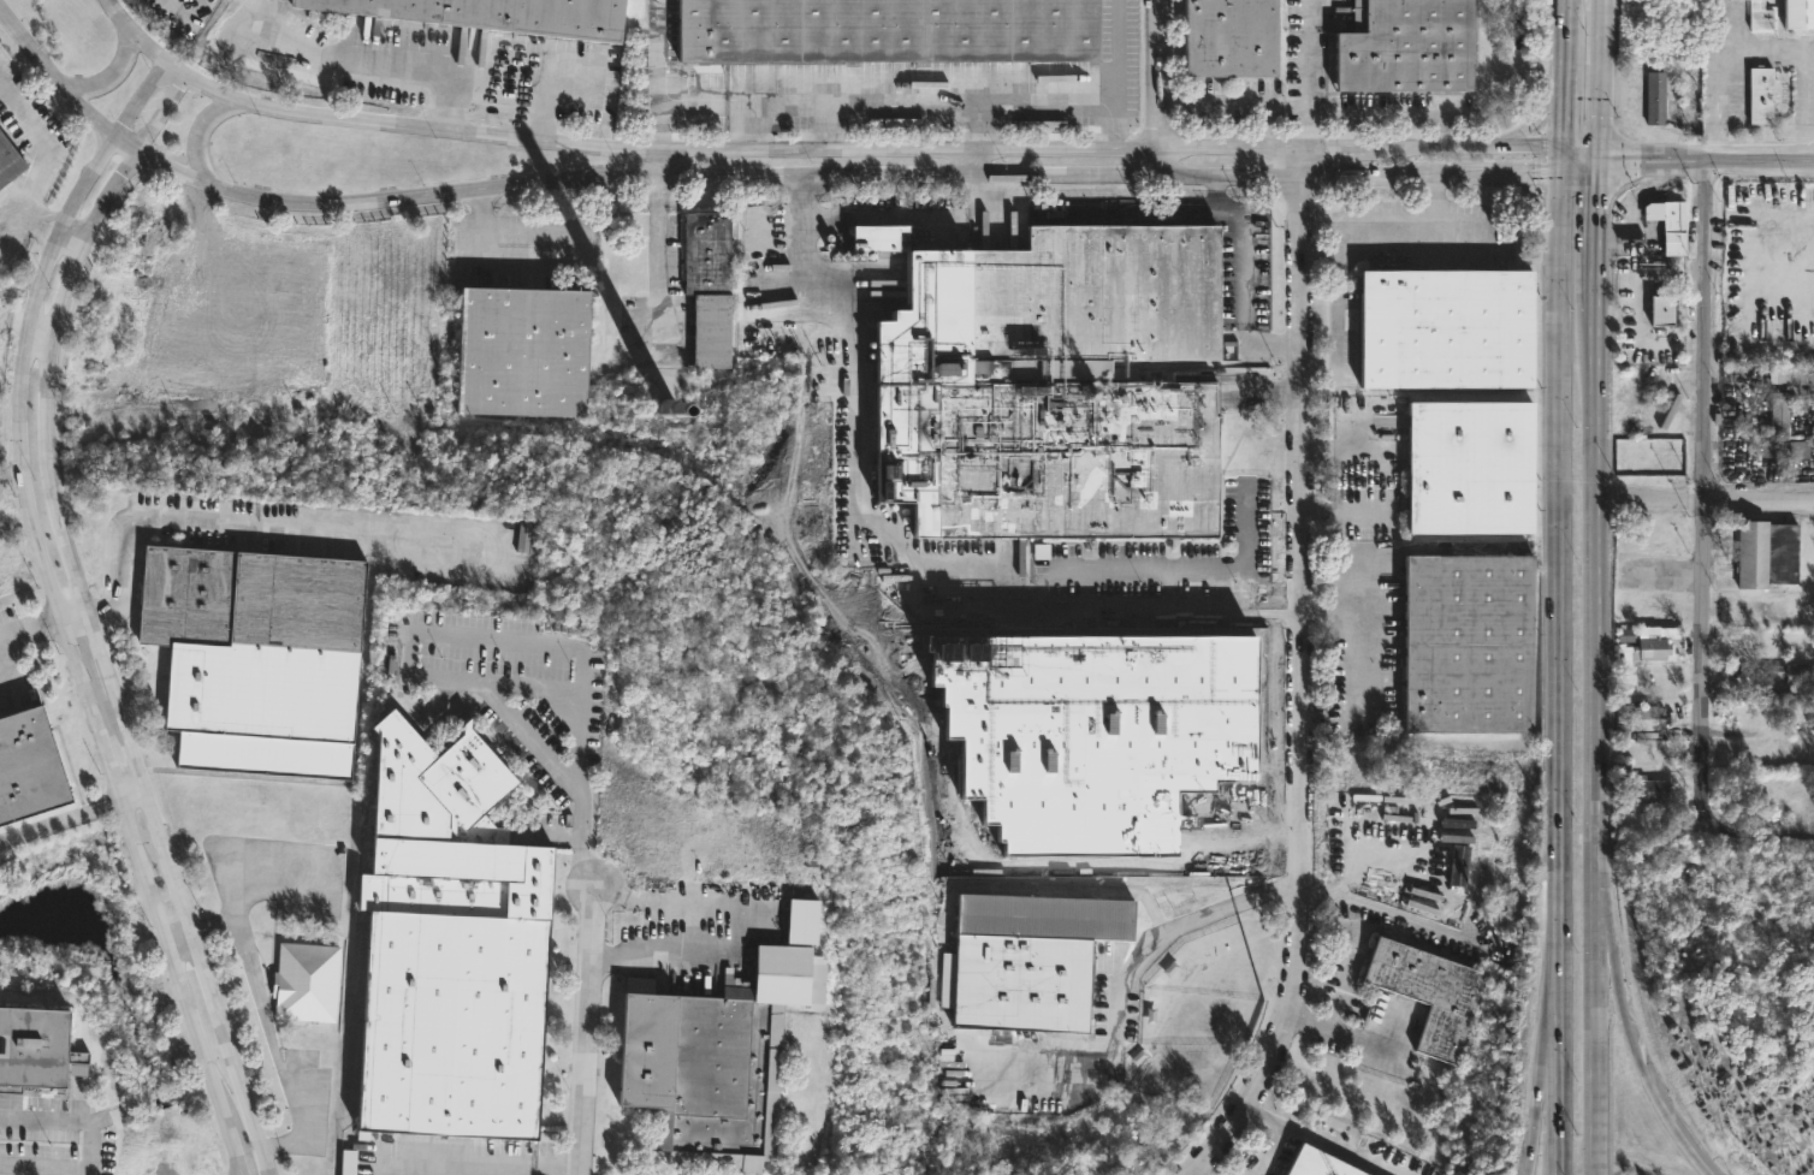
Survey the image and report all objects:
building: (502, 13)
building: (1797, 13)
building: (1754, 14)
road: (1572, 25)
road: (140, 30)
building: (890, 30)
building: (1235, 37)
building: (1412, 46)
road: (1115, 54)
road: (1812, 57)
road: (402, 63)
road: (1303, 72)
road: (112, 75)
road: (1606, 78)
road: (1708, 79)
road: (63, 83)
road: (662, 85)
road: (1162, 87)
building: (1759, 94)
building: (1655, 96)
road: (1571, 99)
road: (445, 100)
road: (1221, 102)
road: (911, 107)
road: (1540, 109)
road: (161, 111)
road: (544, 111)
road: (1387, 112)
road: (1267, 125)
road: (746, 129)
road: (828, 129)
road: (985, 129)
road: (1440, 129)
road: (197, 133)
traffic signals: (1571, 147)
road: (881, 150)
road: (43, 156)
traffic signals: (1607, 158)
building: (10, 160)
road: (976, 161)
road: (1709, 161)
traffic signals: (1571, 171)
road: (867, 172)
road: (1570, 197)
road: (1534, 203)
road: (882, 213)
road: (1376, 220)
building: (1667, 222)
building: (875, 236)
road: (71, 237)
road: (1606, 237)
road: (660, 239)
road: (1458, 248)
building: (706, 253)
building: (1653, 273)
building: (1661, 309)
road: (1339, 321)
building: (1444, 328)
building: (711, 331)
road: (38, 333)
building: (521, 351)
building: (1792, 375)
building: (1048, 386)
building: (1780, 414)
building: (1772, 450)
building: (1801, 450)
road: (1341, 452)
building: (1468, 467)
road: (1705, 483)
road: (1653, 499)
road: (1759, 500)
road: (1348, 512)
road: (266, 528)
road: (905, 552)
building: (1769, 553)
road: (1232, 571)
road: (1113, 572)
road: (1565, 572)
road: (1364, 594)
road: (59, 610)
road: (76, 619)
road: (31, 630)
road: (494, 641)
building: (1465, 642)
building: (1653, 649)
building: (253, 655)
road: (102, 660)
road: (1364, 665)
building: (1791, 673)
road: (1302, 675)
road: (534, 682)
building: (1785, 694)
building: (1755, 718)
building: (1643, 720)
road: (1597, 744)
building: (28, 765)
building: (1654, 791)
road: (134, 797)
road: (1757, 819)
road: (60, 820)
road: (1394, 914)
road: (178, 936)
road: (704, 943)
building: (447, 944)
building: (1026, 959)
road: (1607, 960)
building: (787, 961)
road: (1116, 978)
building: (307, 980)
building: (1428, 990)
road: (272, 1031)
road: (588, 1034)
road: (1344, 1035)
road: (1560, 1035)
road: (1547, 1037)
building: (36, 1046)
building: (698, 1072)
road: (1653, 1093)
road: (72, 1118)
road: (1279, 1135)
building: (349, 1161)
road: (45, 1162)
building: (1318, 1163)
road: (472, 1164)
road: (239, 1173)
road: (241, 1173)
road: (1194, 1174)

